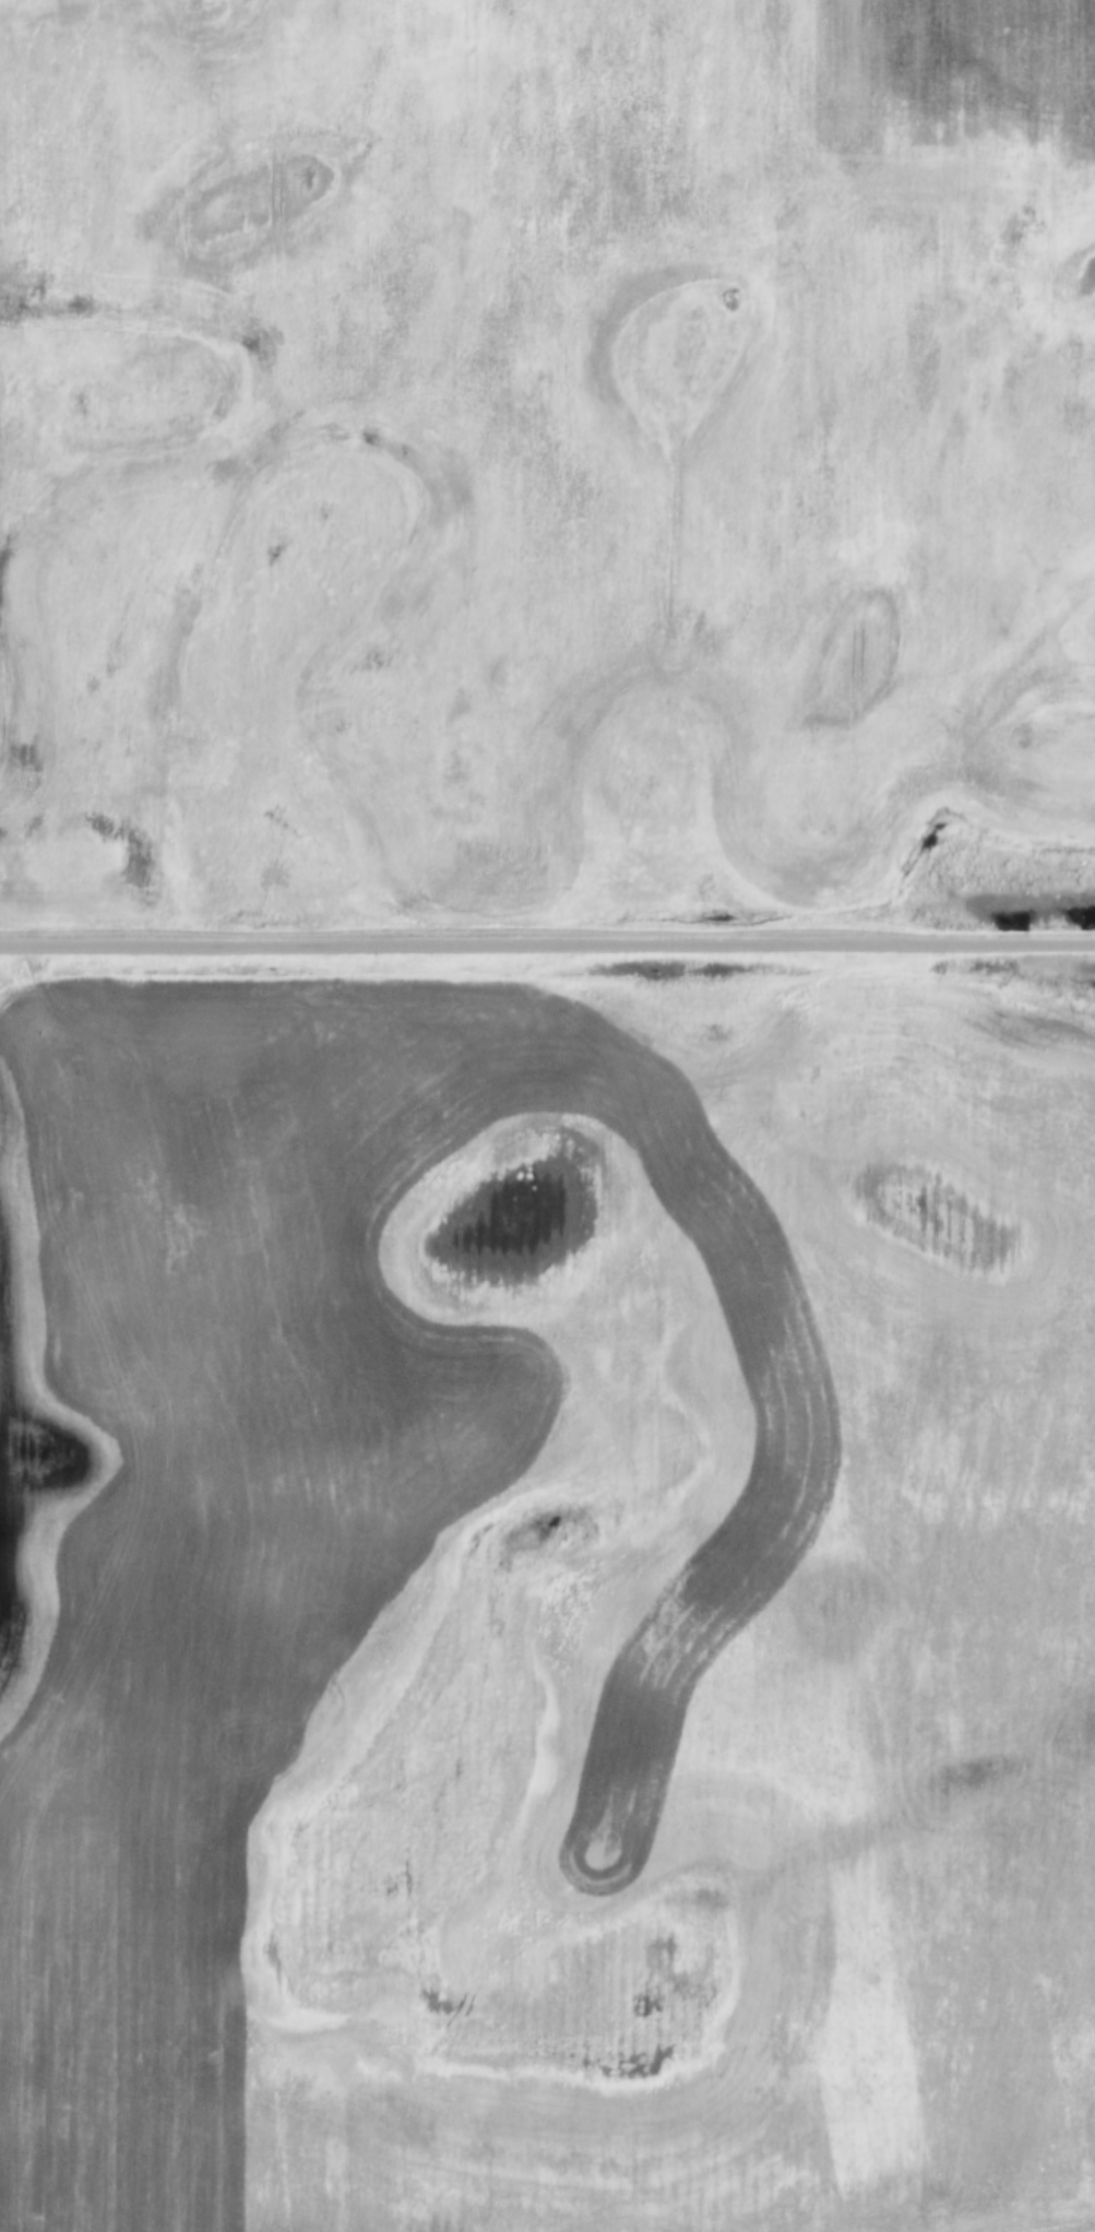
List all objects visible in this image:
road: (547, 943)

